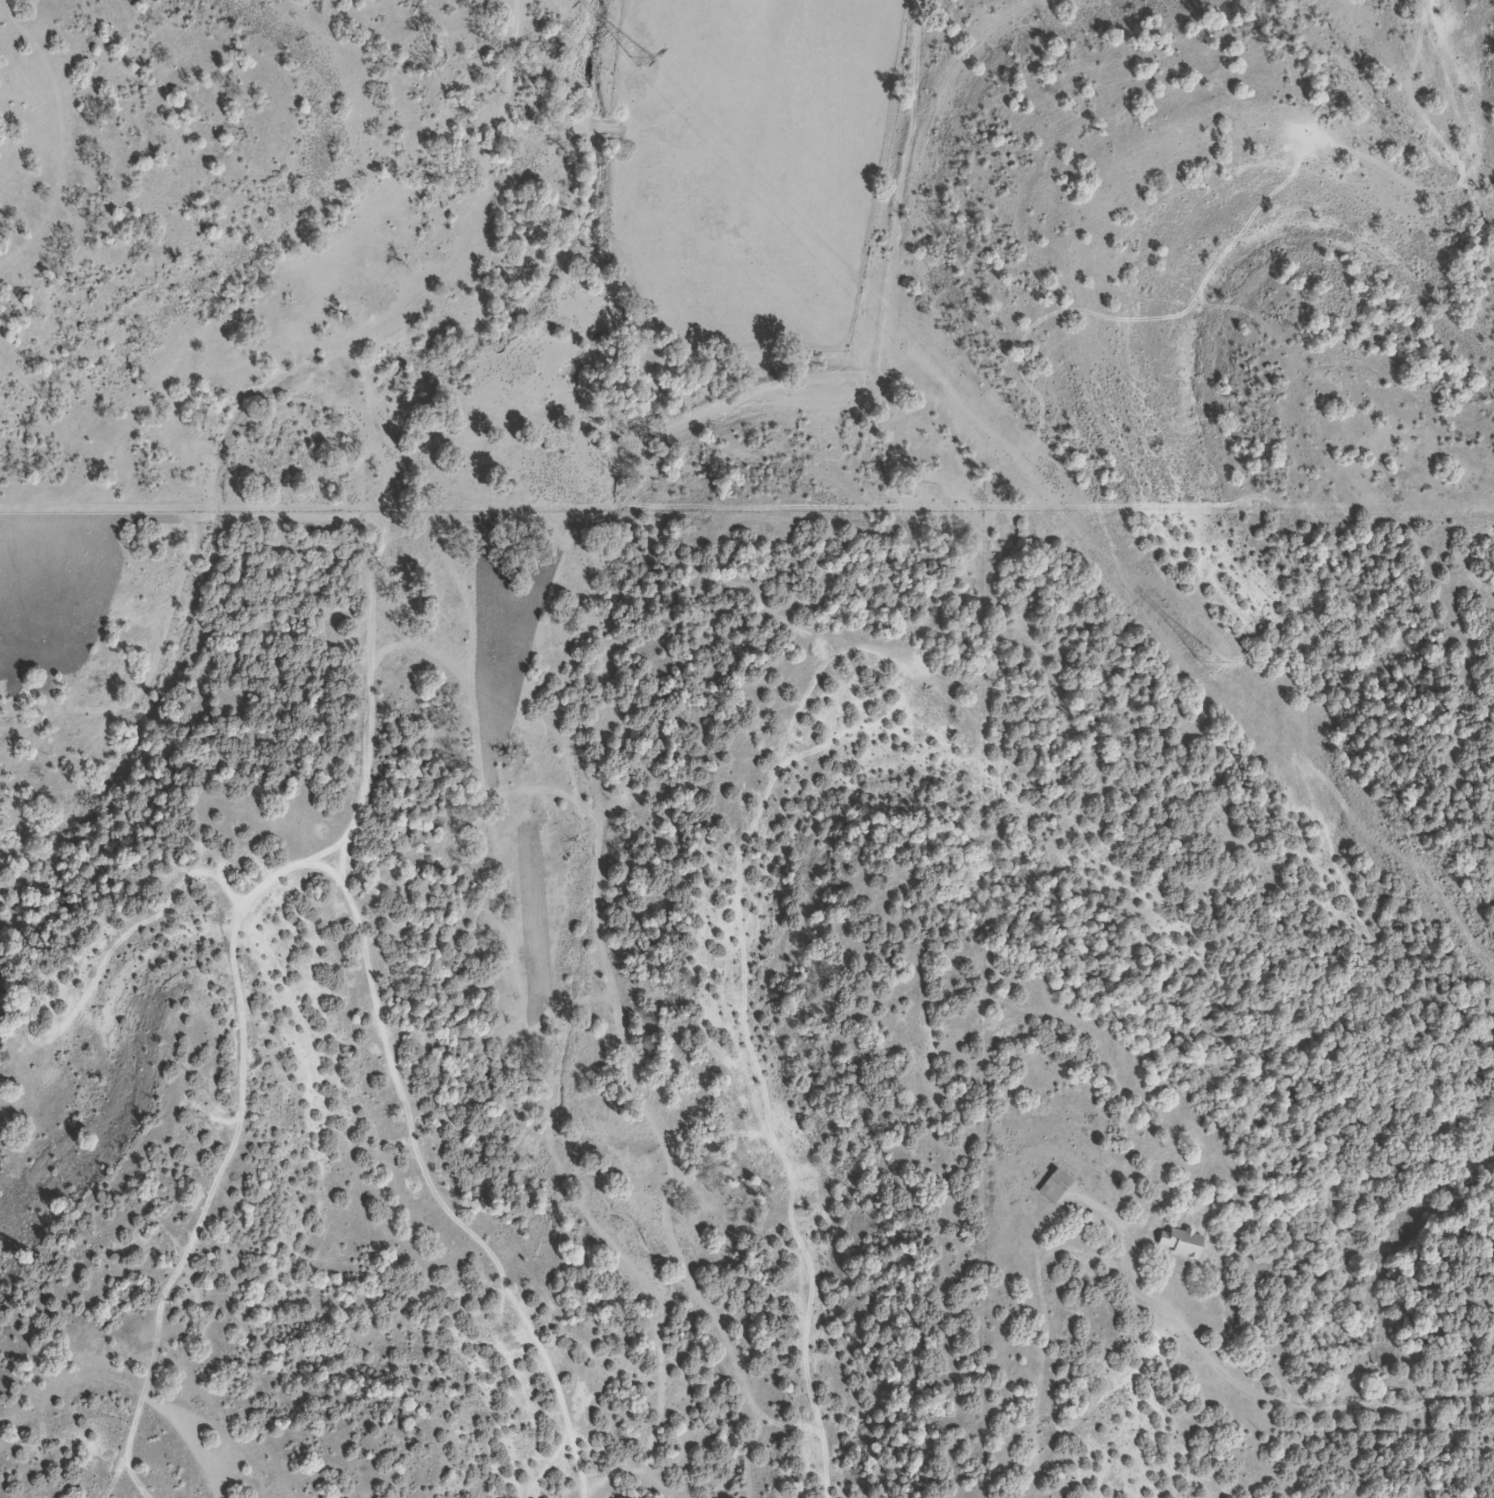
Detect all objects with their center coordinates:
power tower: (640, 59)
power tower: (1206, 667)
road: (362, 776)
building: (1053, 1187)
building: (1178, 1242)
road: (1266, 1400)

